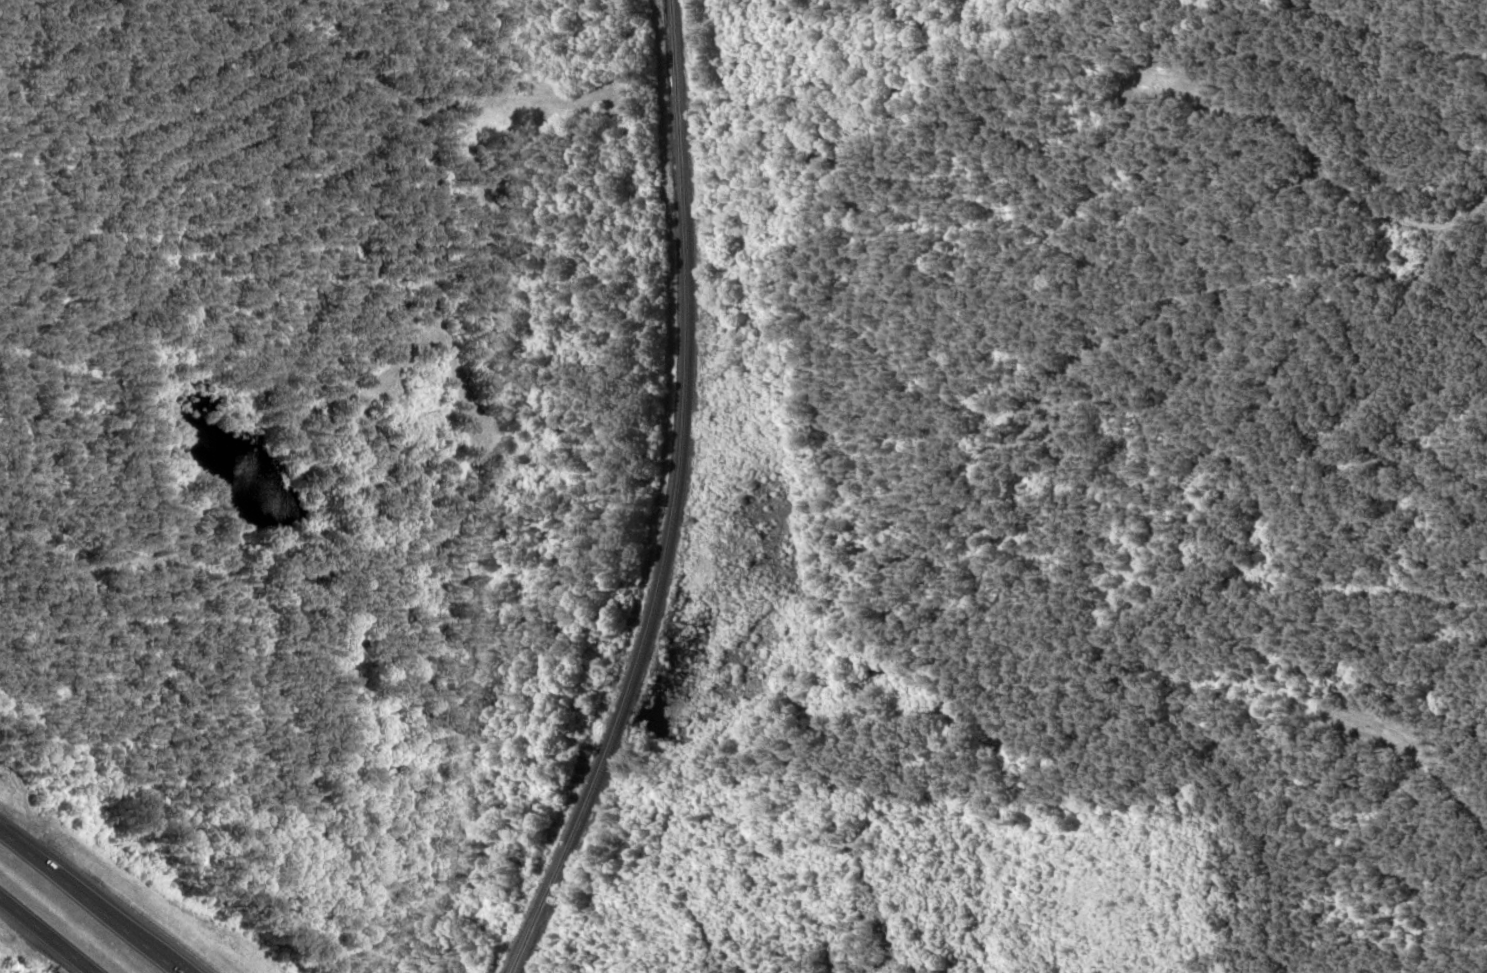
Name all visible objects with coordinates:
railway: (675, 500)
road: (92, 898)
road: (45, 936)

